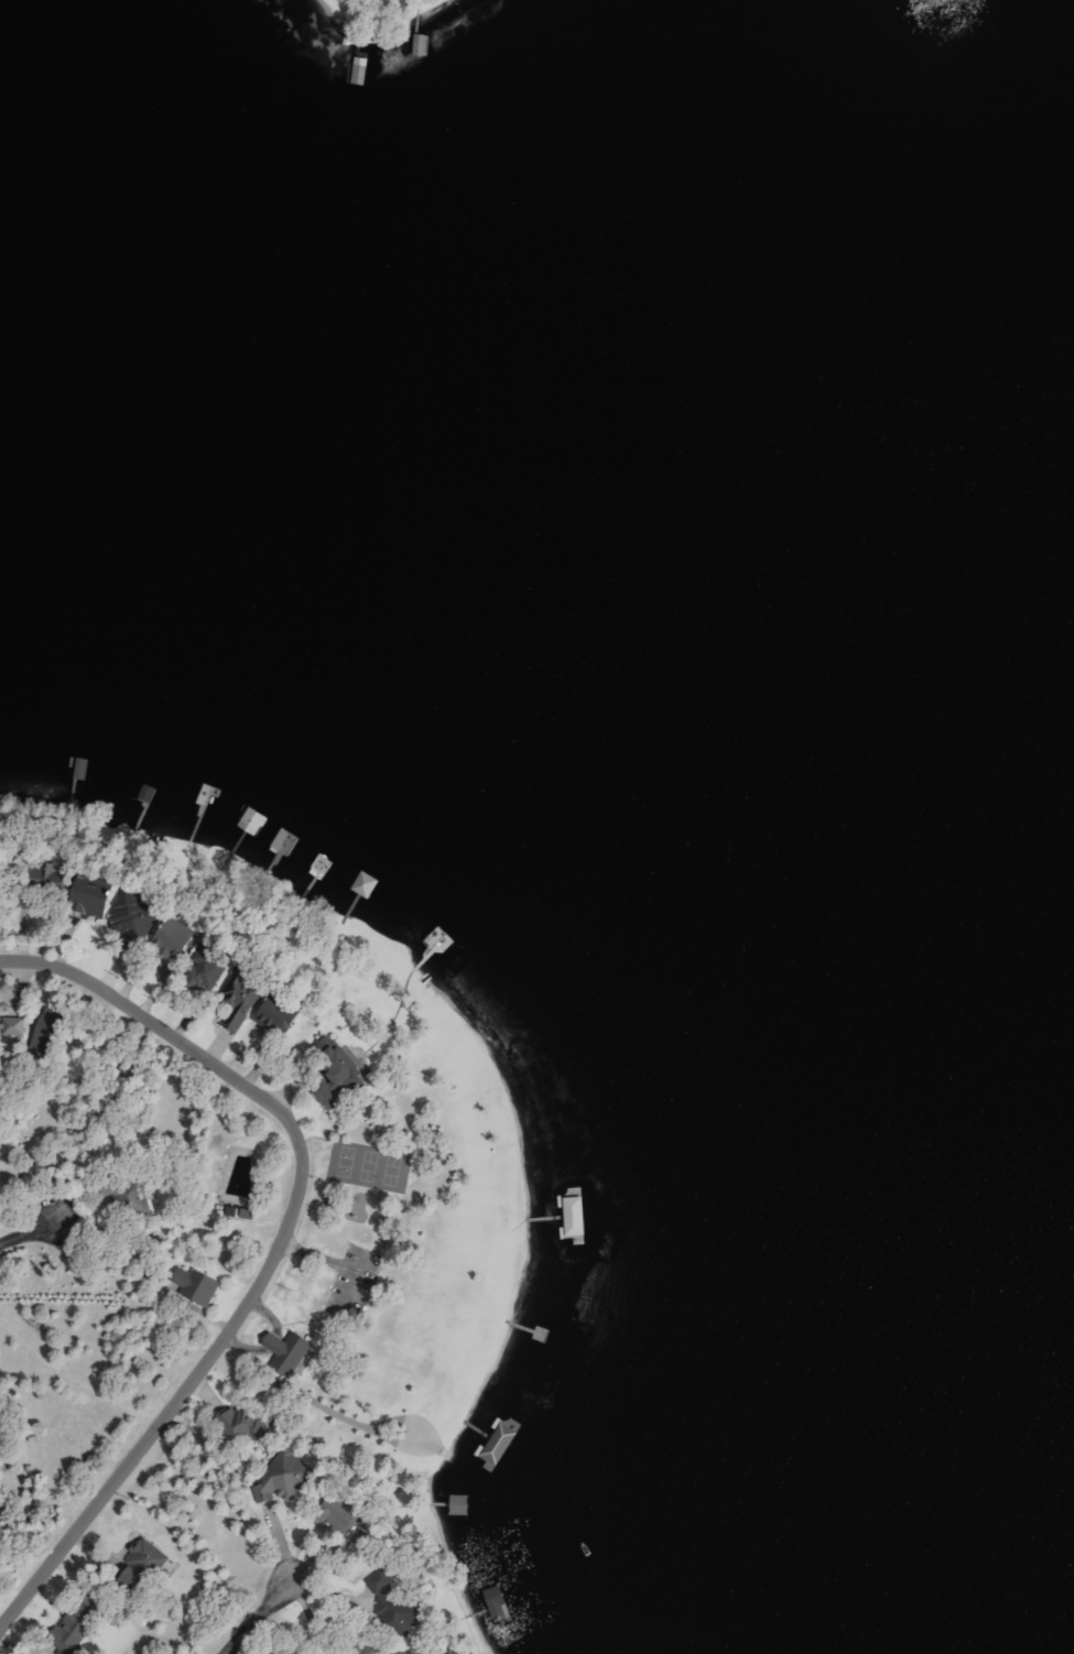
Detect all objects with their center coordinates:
building: (290, 837)
building: (370, 883)
building: (95, 897)
building: (137, 915)
building: (180, 935)
building: (211, 964)
building: (243, 1002)
building: (281, 1016)
building: (17, 1025)
building: (50, 1037)
building: (339, 1076)
building: (242, 1211)
building: (577, 1217)
road: (32, 1231)
road: (275, 1247)
building: (199, 1285)
building: (290, 1351)
building: (242, 1422)
building: (500, 1446)
building: (280, 1487)
building: (463, 1504)
building: (149, 1561)
building: (381, 1581)
building: (499, 1601)
building: (401, 1613)
road: (257, 1615)
building: (73, 1631)

